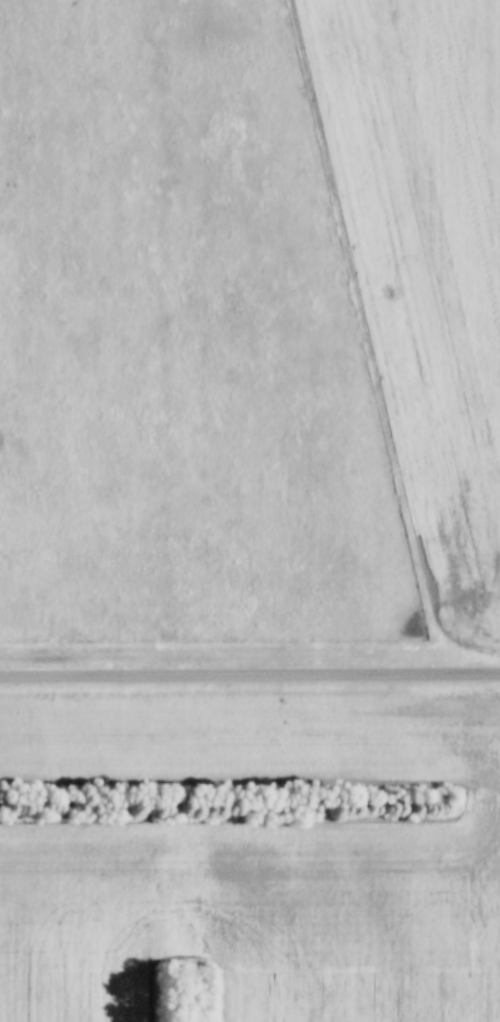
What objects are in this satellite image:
road: (250, 672)

